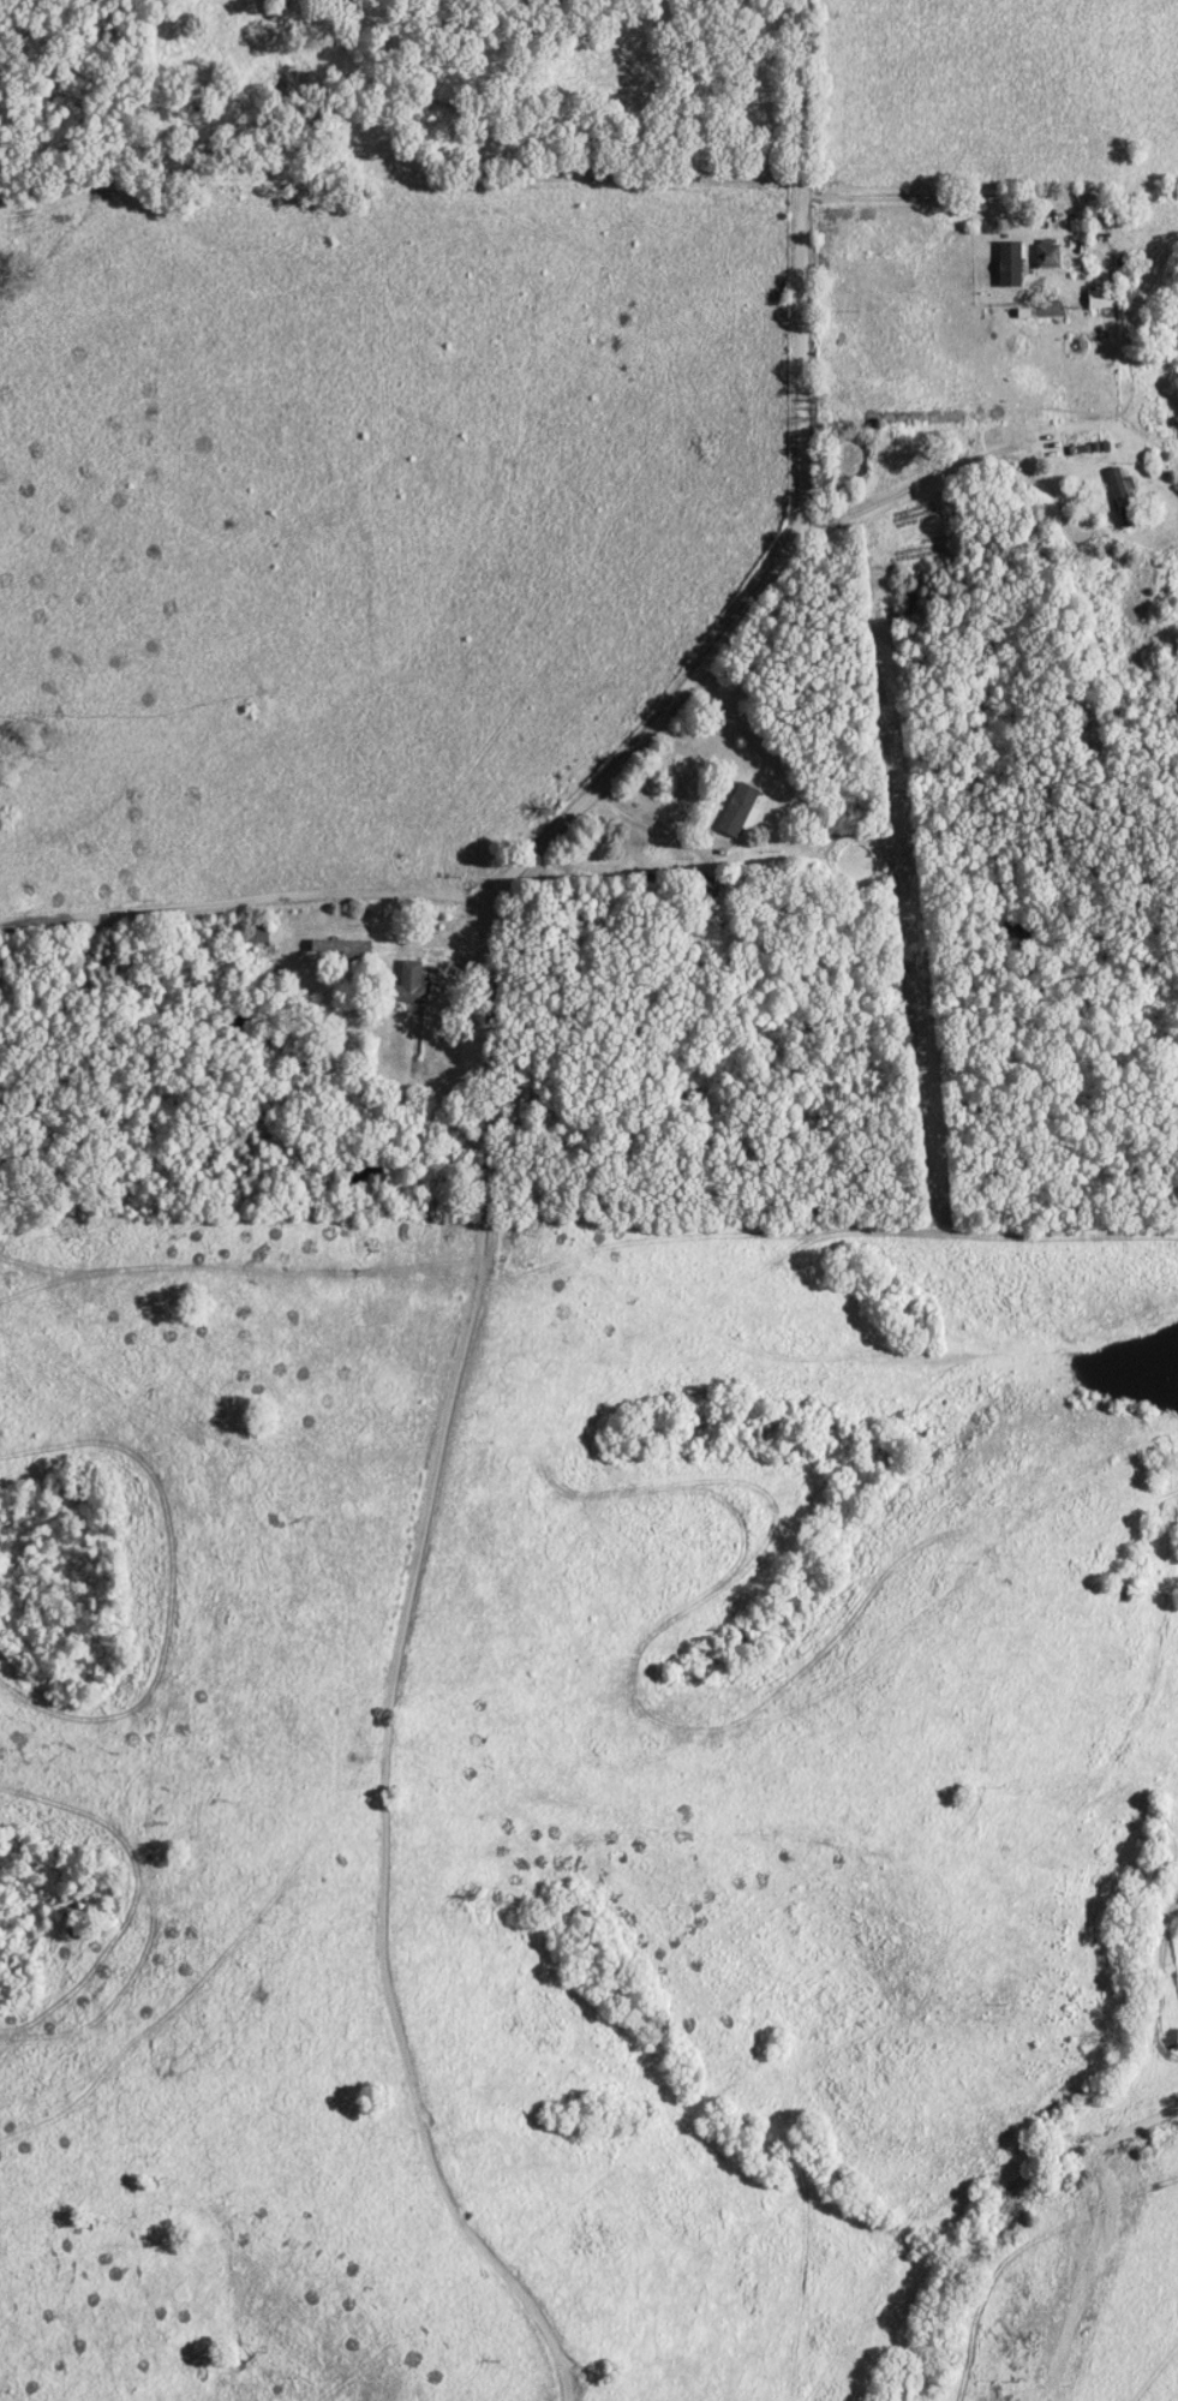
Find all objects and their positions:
road: (946, 196)
building: (1048, 256)
building: (1010, 265)
building: (1120, 488)
road: (898, 495)
road: (668, 709)
building: (736, 810)
road: (654, 826)
building: (341, 949)
building: (411, 985)
road: (401, 1668)

